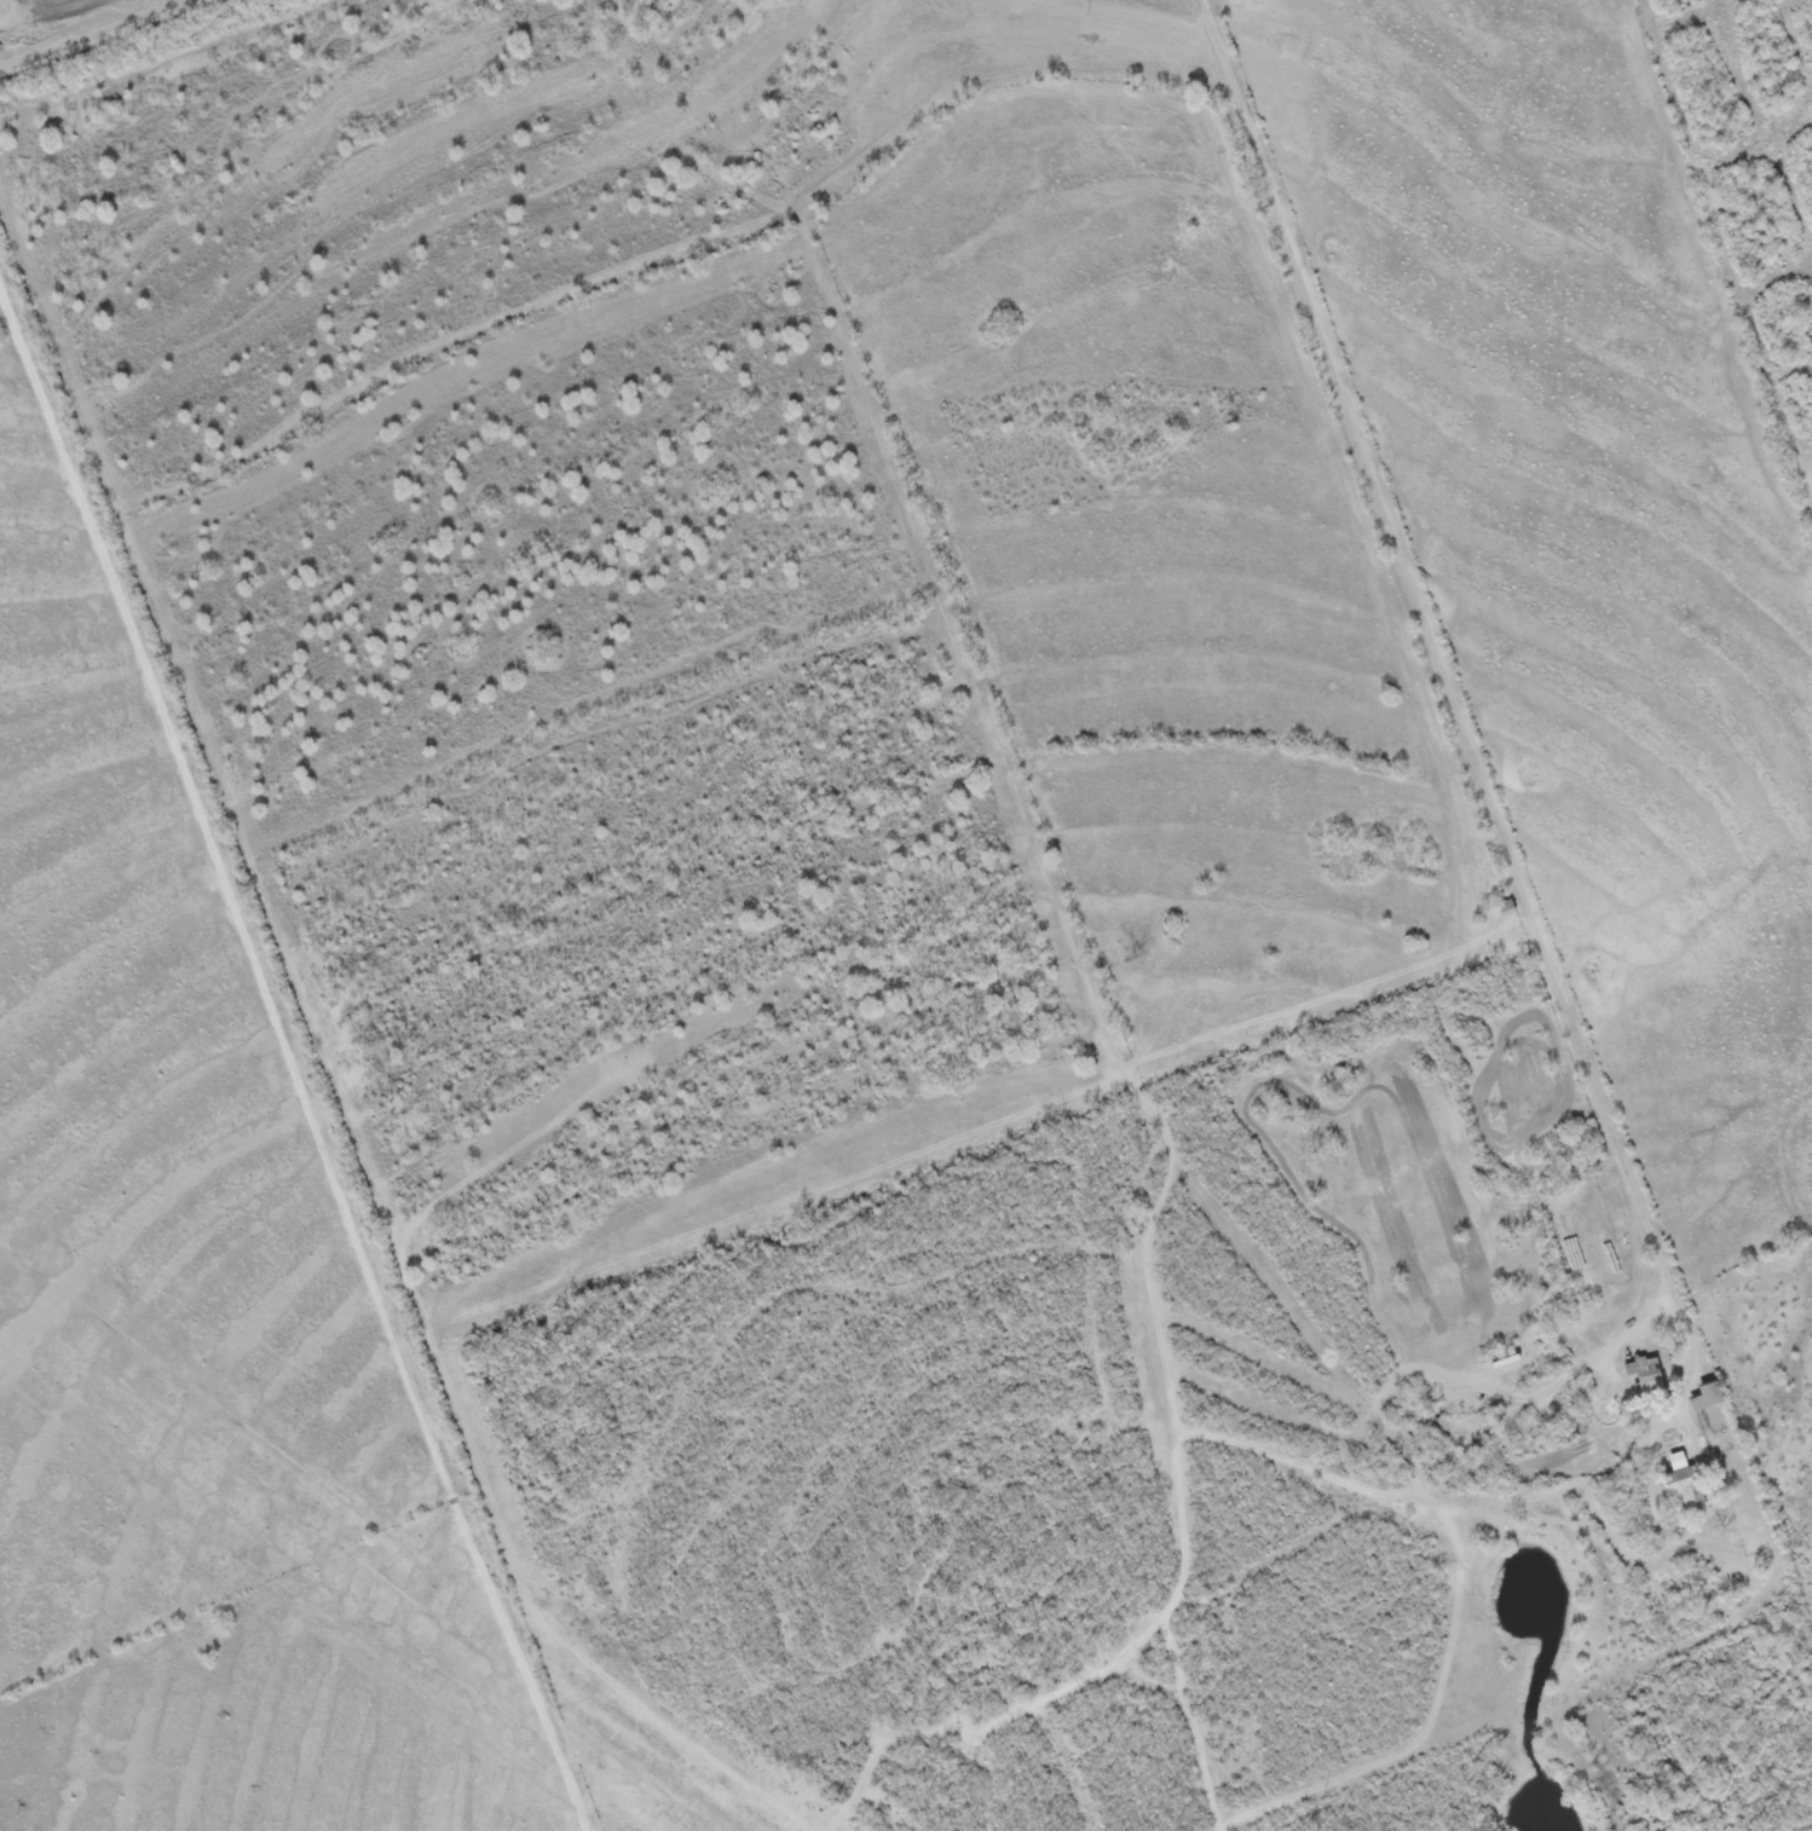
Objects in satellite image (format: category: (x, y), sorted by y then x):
road: (94, 34)
building: (1641, 1373)
building: (1702, 1397)
building: (1683, 1489)

